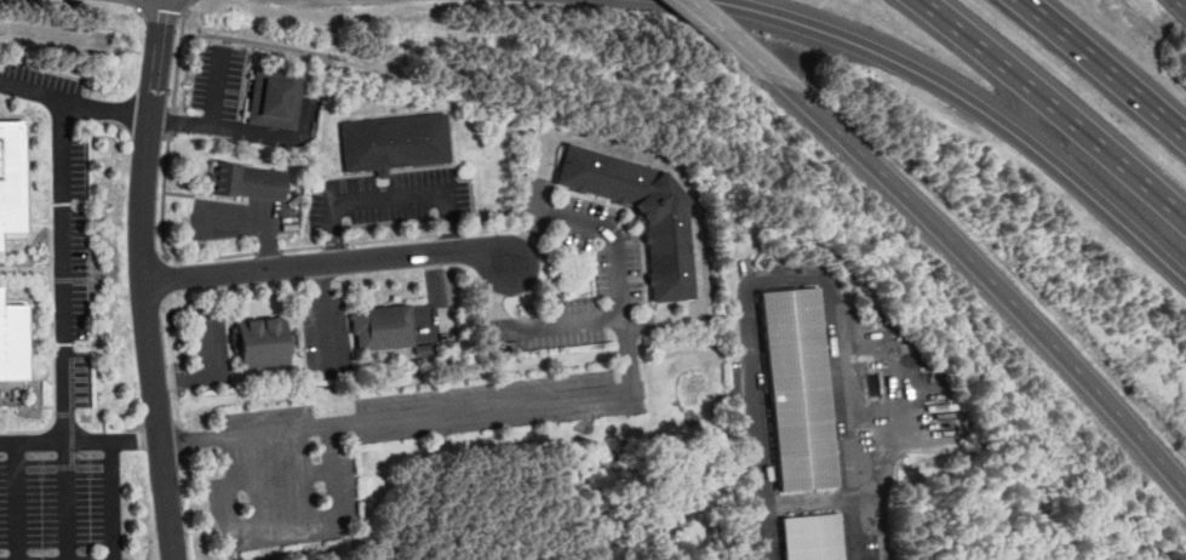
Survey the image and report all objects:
road: (183, 5)
road: (1180, 5)
street lamp: (131, 19)
road: (737, 44)
road: (157, 46)
road: (319, 52)
road: (179, 58)
road: (1106, 67)
building: (275, 97)
road: (962, 99)
road: (74, 101)
road: (1055, 107)
road: (171, 120)
street lamp: (178, 135)
building: (395, 139)
road: (452, 147)
building: (382, 171)
building: (12, 176)
road: (382, 176)
building: (247, 179)
road: (207, 184)
road: (384, 192)
road: (210, 196)
road: (391, 198)
building: (635, 211)
road: (231, 218)
road: (495, 229)
street lamp: (1050, 229)
road: (451, 233)
road: (268, 235)
road: (393, 238)
road: (162, 239)
road: (334, 242)
road: (302, 247)
street lamp: (170, 250)
road: (270, 250)
road: (165, 255)
road: (328, 261)
road: (62, 268)
road: (695, 269)
road: (165, 276)
road: (793, 278)
road: (992, 282)
road: (436, 295)
road: (322, 316)
road: (148, 326)
building: (379, 326)
road: (168, 331)
road: (199, 333)
road: (182, 335)
building: (15, 337)
building: (259, 342)
street lamp: (81, 344)
building: (423, 347)
street lamp: (638, 360)
road: (206, 370)
street lamp: (525, 375)
road: (174, 378)
building: (800, 388)
street lamp: (374, 390)
road: (542, 396)
street lamp: (182, 399)
road: (178, 407)
street lamp: (219, 410)
street lamp: (456, 434)
road: (80, 439)
road: (182, 439)
road: (225, 440)
road: (330, 447)
street lamp: (91, 452)
road: (184, 455)
road: (332, 470)
road: (187, 488)
street lamp: (320, 491)
road: (16, 499)
road: (67, 499)
road: (110, 499)
street lamp: (243, 502)
road: (880, 510)
street lamp: (187, 533)
building: (812, 536)
street lamp: (90, 549)

